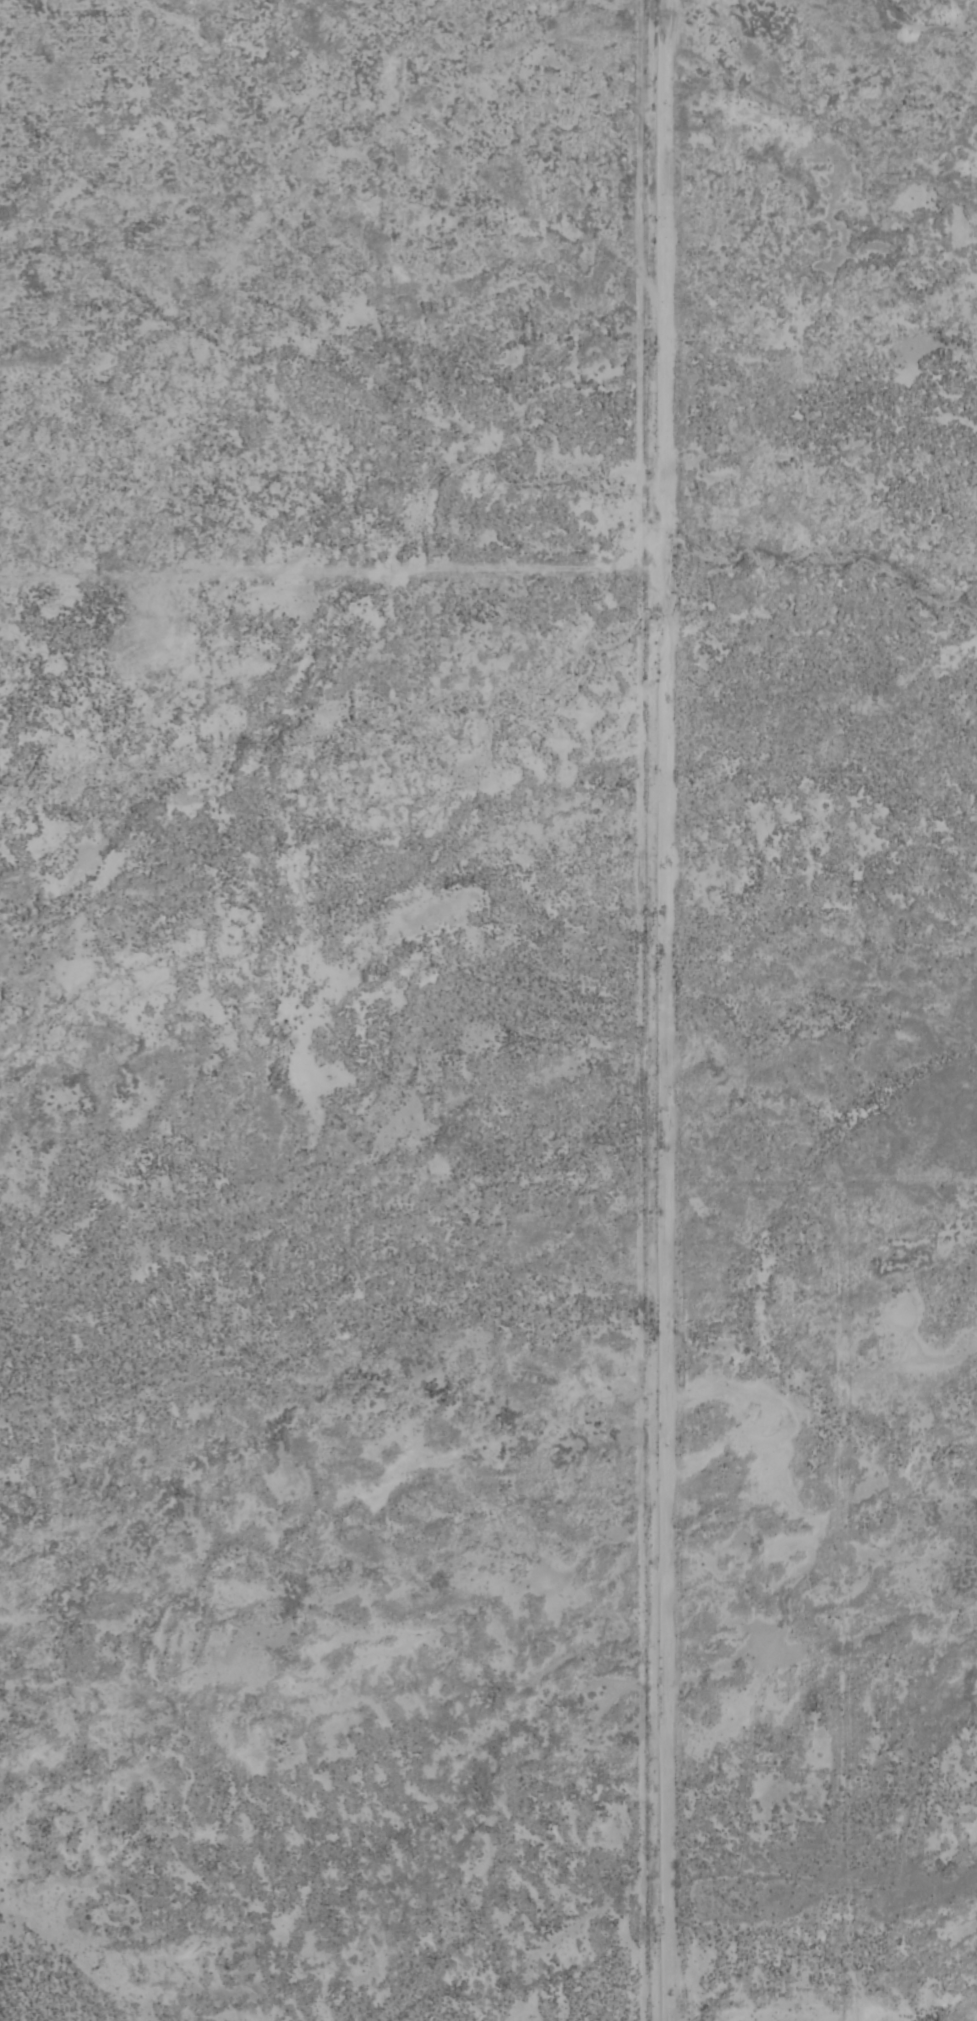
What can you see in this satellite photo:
road: (642, 1010)

